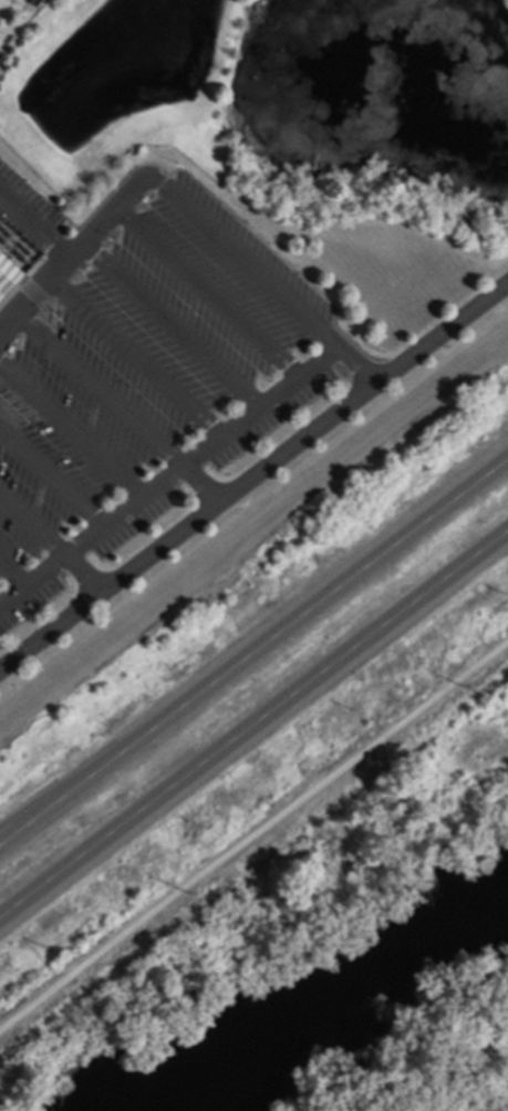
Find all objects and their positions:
road: (34, 227)
road: (239, 255)
road: (68, 260)
building: (7, 277)
road: (206, 291)
road: (170, 324)
road: (135, 356)
road: (355, 365)
parking lot: (142, 374)
road: (118, 409)
road: (71, 427)
road: (167, 473)
road: (51, 476)
road: (253, 477)
road: (252, 501)
road: (51, 544)
road: (12, 571)
road: (253, 652)
road: (253, 721)
road: (253, 838)
river: (321, 980)

